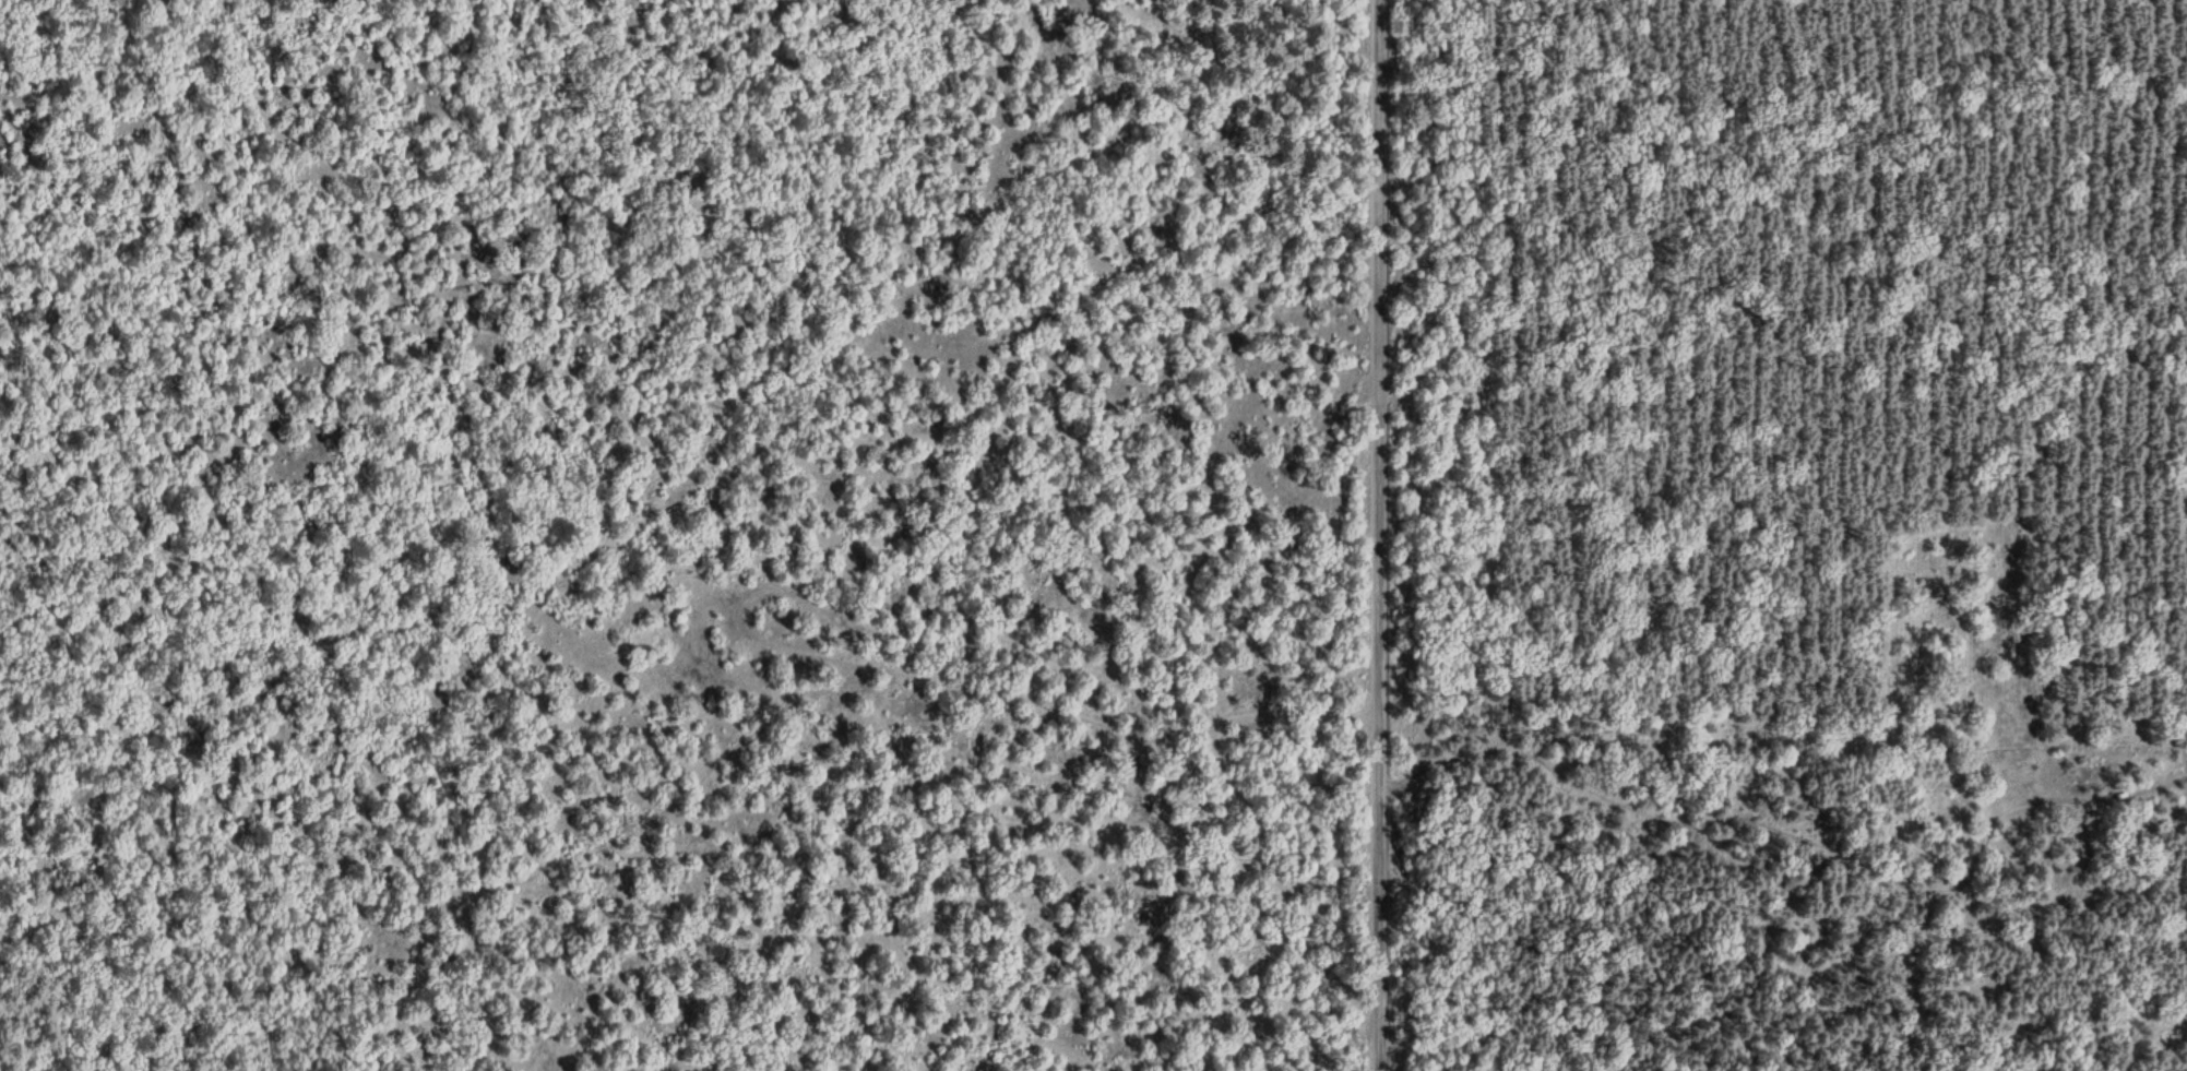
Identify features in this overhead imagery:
road: (1376, 535)
road: (1793, 847)

